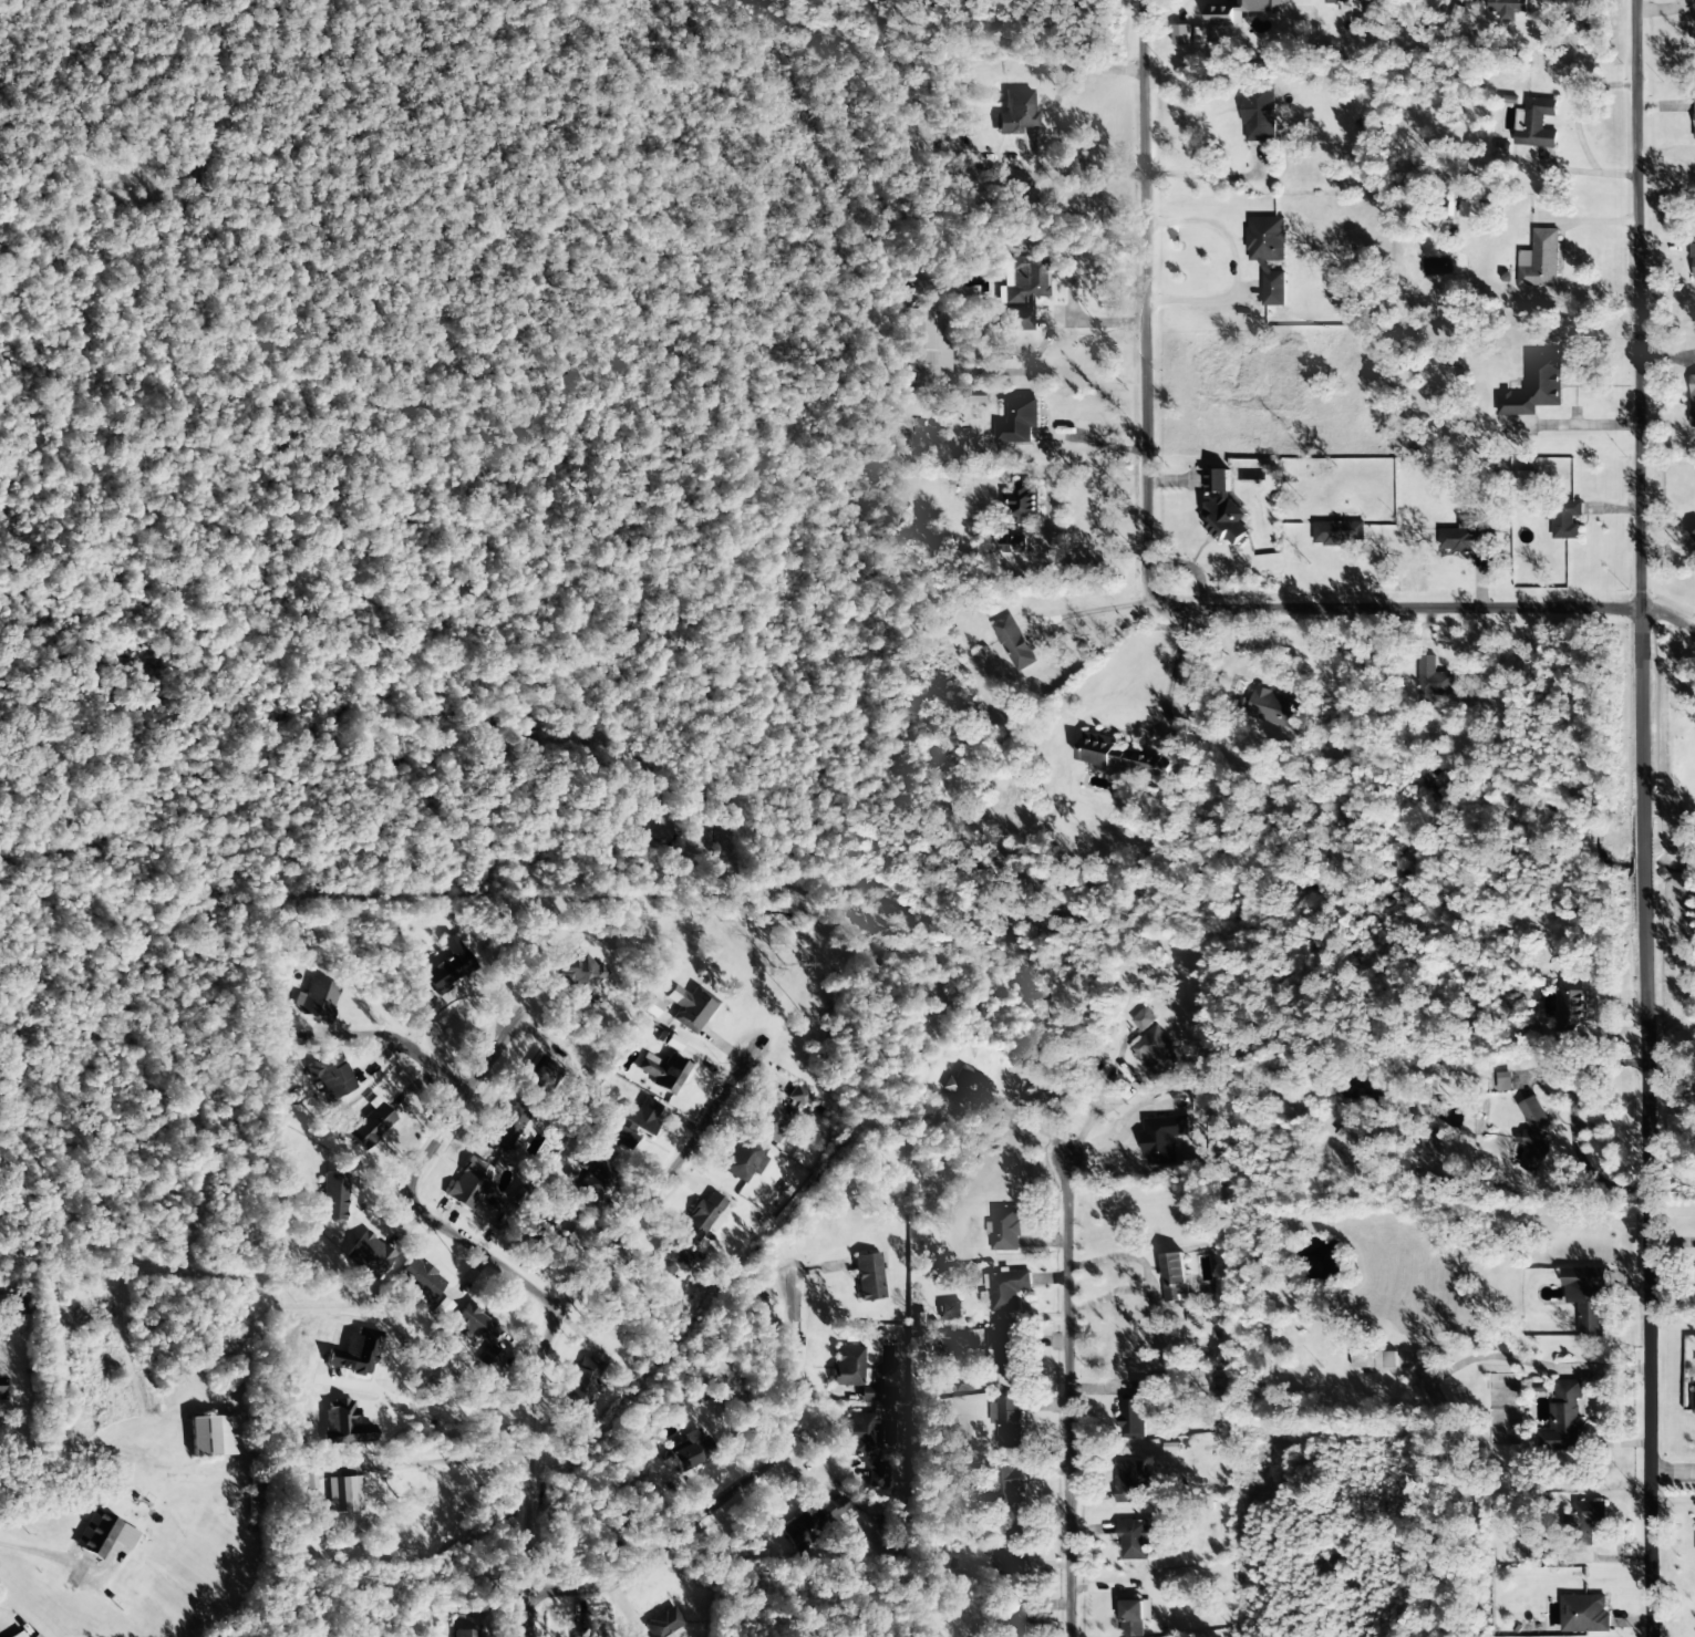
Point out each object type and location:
building: (1341, 1)
building: (1507, 9)
building: (1241, 11)
building: (1181, 35)
building: (1200, 38)
building: (1016, 113)
building: (1259, 114)
building: (1694, 116)
building: (1538, 124)
road: (1230, 176)
building: (1479, 211)
building: (1268, 256)
building: (1540, 260)
building: (1693, 261)
road: (1259, 265)
building: (1498, 281)
building: (1022, 292)
building: (926, 344)
building: (1536, 387)
building: (976, 394)
building: (1692, 401)
building: (1020, 422)
building: (1526, 477)
building: (1024, 503)
building: (1224, 509)
building: (1565, 519)
road: (1165, 533)
building: (1339, 533)
building: (1694, 538)
building: (1463, 539)
building: (1015, 543)
road: (1098, 613)
road: (1662, 618)
building: (1014, 643)
building: (981, 654)
building: (1432, 680)
building: (1273, 708)
road: (1644, 818)
building: (448, 966)
building: (581, 973)
building: (318, 1001)
building: (690, 1007)
building: (1144, 1019)
road: (369, 1036)
building: (1155, 1051)
building: (662, 1073)
building: (331, 1076)
building: (539, 1078)
building: (1503, 1081)
building: (964, 1085)
building: (798, 1097)
building: (640, 1116)
building: (772, 1120)
building: (371, 1125)
building: (507, 1127)
building: (1534, 1136)
building: (622, 1139)
building: (1162, 1139)
building: (1429, 1141)
building: (743, 1159)
building: (596, 1181)
building: (1432, 1181)
building: (469, 1184)
building: (333, 1198)
road: (438, 1198)
building: (702, 1216)
building: (1004, 1230)
building: (546, 1234)
building: (370, 1255)
building: (671, 1262)
building: (869, 1277)
building: (1176, 1278)
building: (420, 1279)
building: (1007, 1289)
building: (1588, 1297)
building: (17, 1306)
road: (559, 1307)
building: (950, 1312)
building: (474, 1324)
building: (1006, 1351)
building: (490, 1356)
building: (1374, 1360)
building: (846, 1366)
building: (583, 1381)
building: (875, 1393)
road: (1056, 1393)
building: (1694, 1400)
building: (1134, 1413)
building: (1564, 1418)
building: (1007, 1421)
building: (213, 1437)
building: (866, 1447)
building: (689, 1451)
road: (436, 1462)
road: (1673, 1473)
road: (710, 1478)
building: (1130, 1482)
building: (1011, 1485)
building: (343, 1494)
building: (1584, 1521)
building: (810, 1523)
building: (102, 1535)
building: (1136, 1540)
building: (1011, 1554)
building: (1584, 1614)
building: (1134, 1617)
building: (662, 1623)
building: (1009, 1624)
building: (466, 1634)
building: (19, 1635)
building: (582, 1635)
building: (34, 1636)

